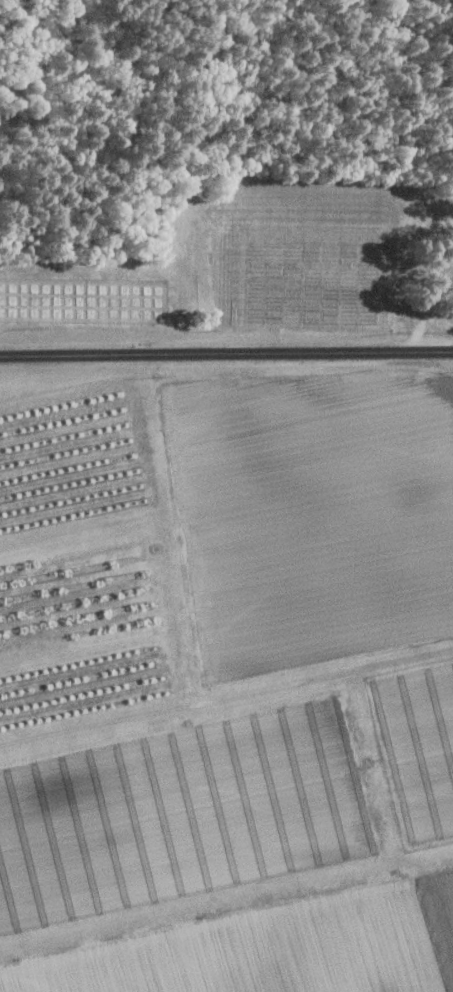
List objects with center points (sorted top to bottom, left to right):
road: (226, 355)

